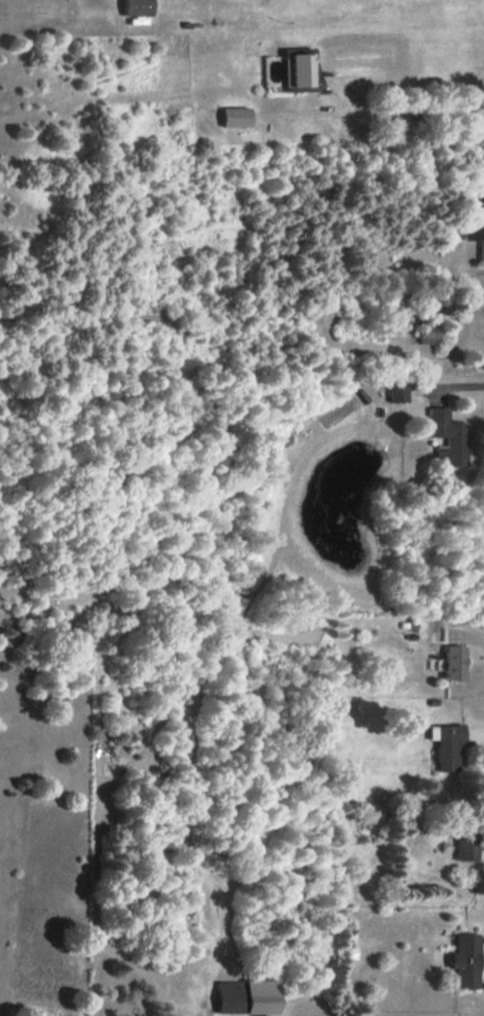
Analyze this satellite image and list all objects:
building: (136, 7)
building: (296, 71)
road: (401, 115)
building: (235, 116)
building: (473, 221)
building: (426, 334)
road: (459, 388)
building: (396, 391)
building: (447, 437)
building: (451, 662)
building: (444, 745)
building: (468, 845)
building: (464, 960)
building: (246, 996)
road: (206, 1013)

